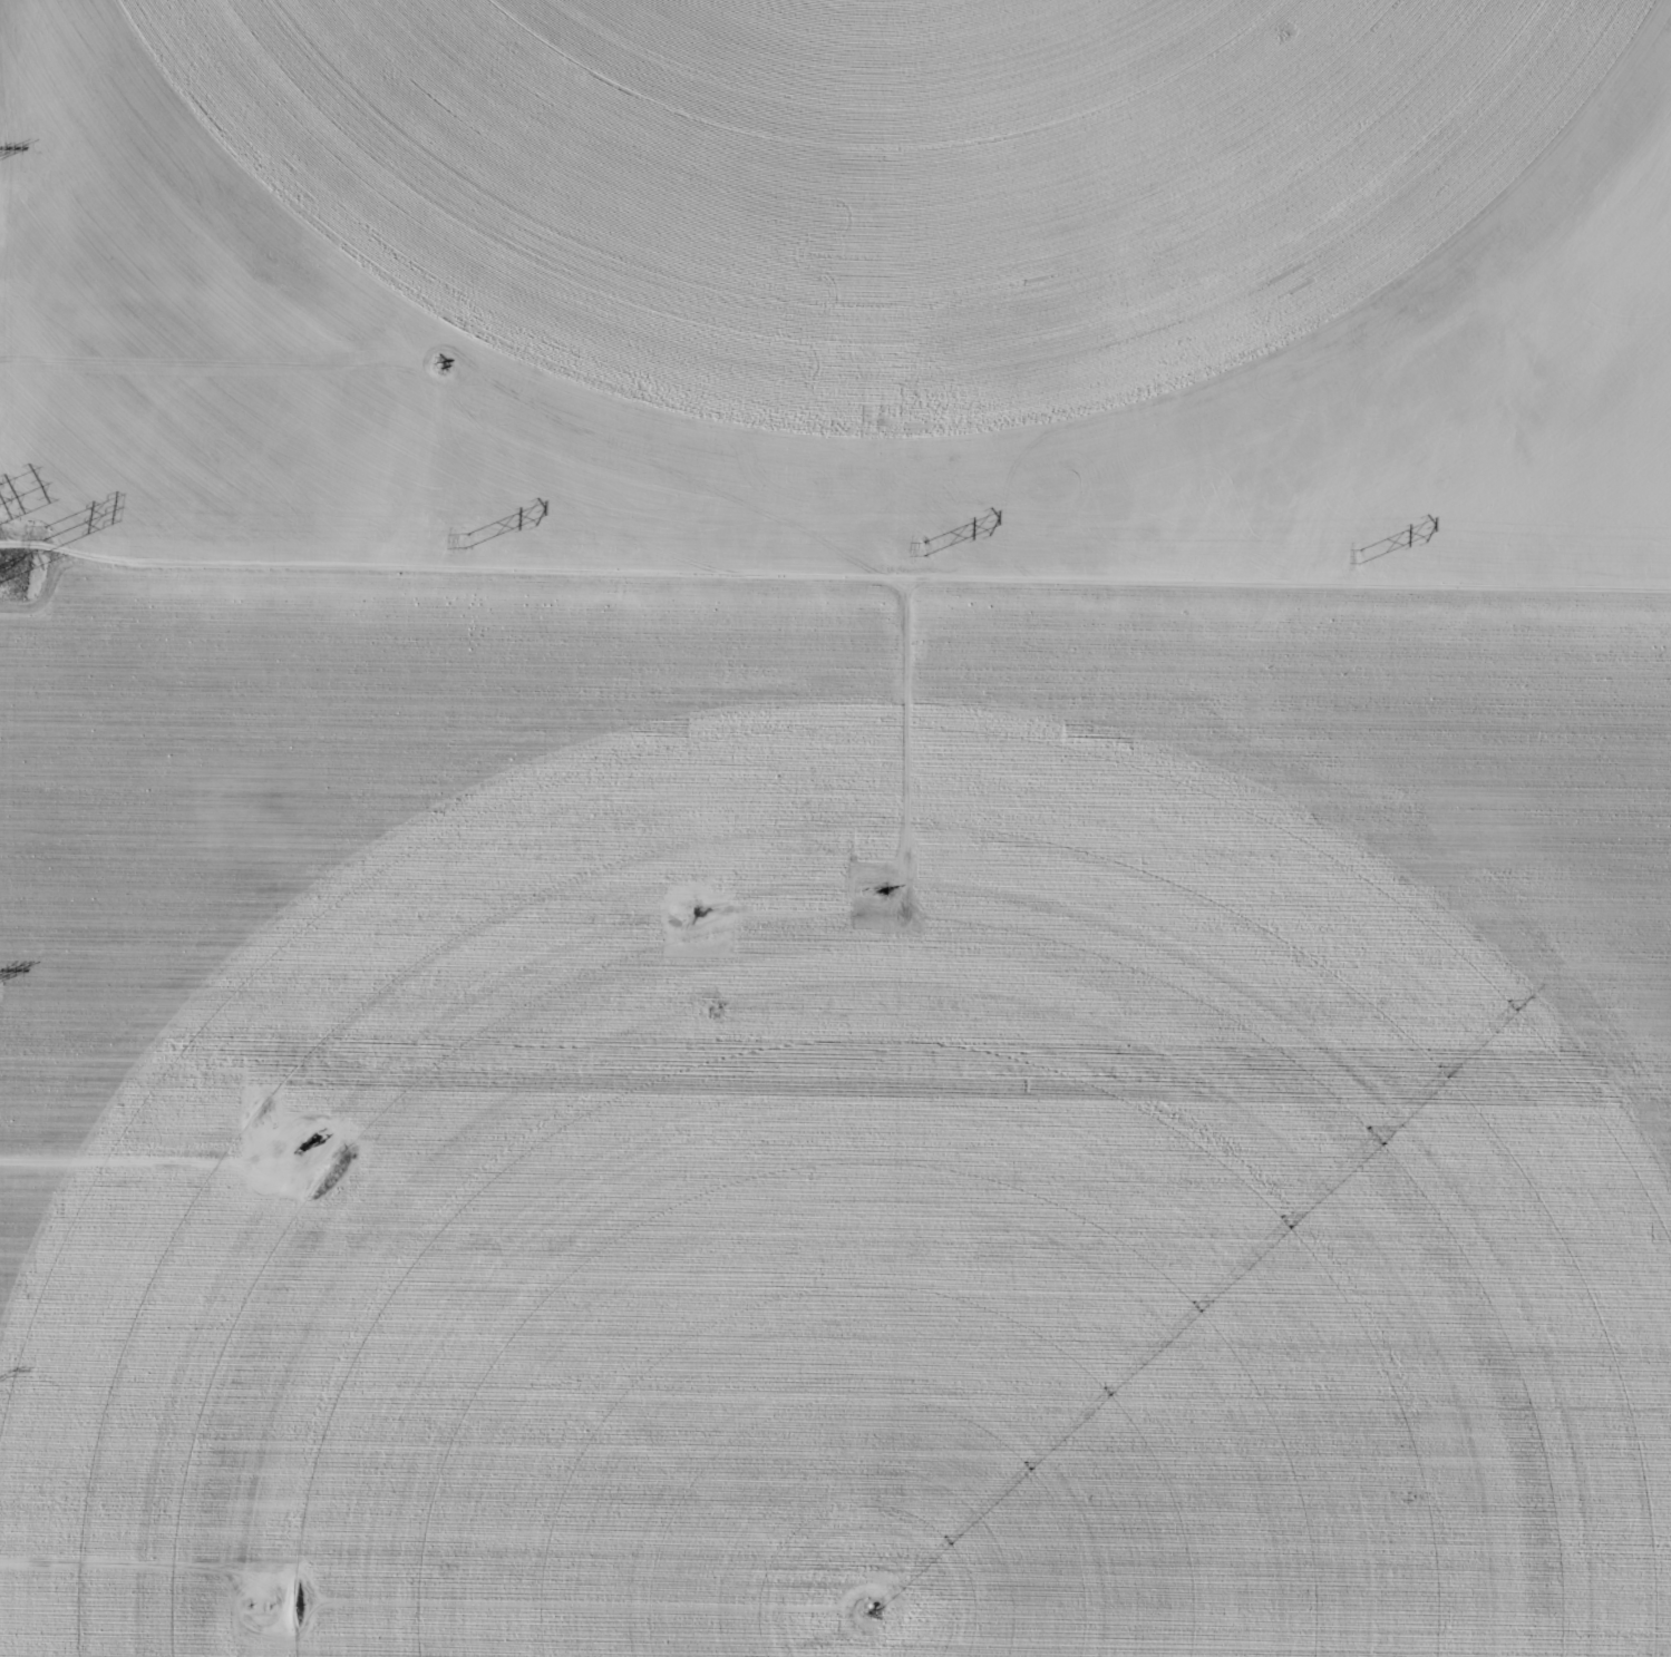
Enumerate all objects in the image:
power tower: (42, 536)
power tower: (463, 538)
power tower: (920, 547)
power tower: (1358, 550)
petroleum well: (877, 890)
petroleum well: (299, 1144)

